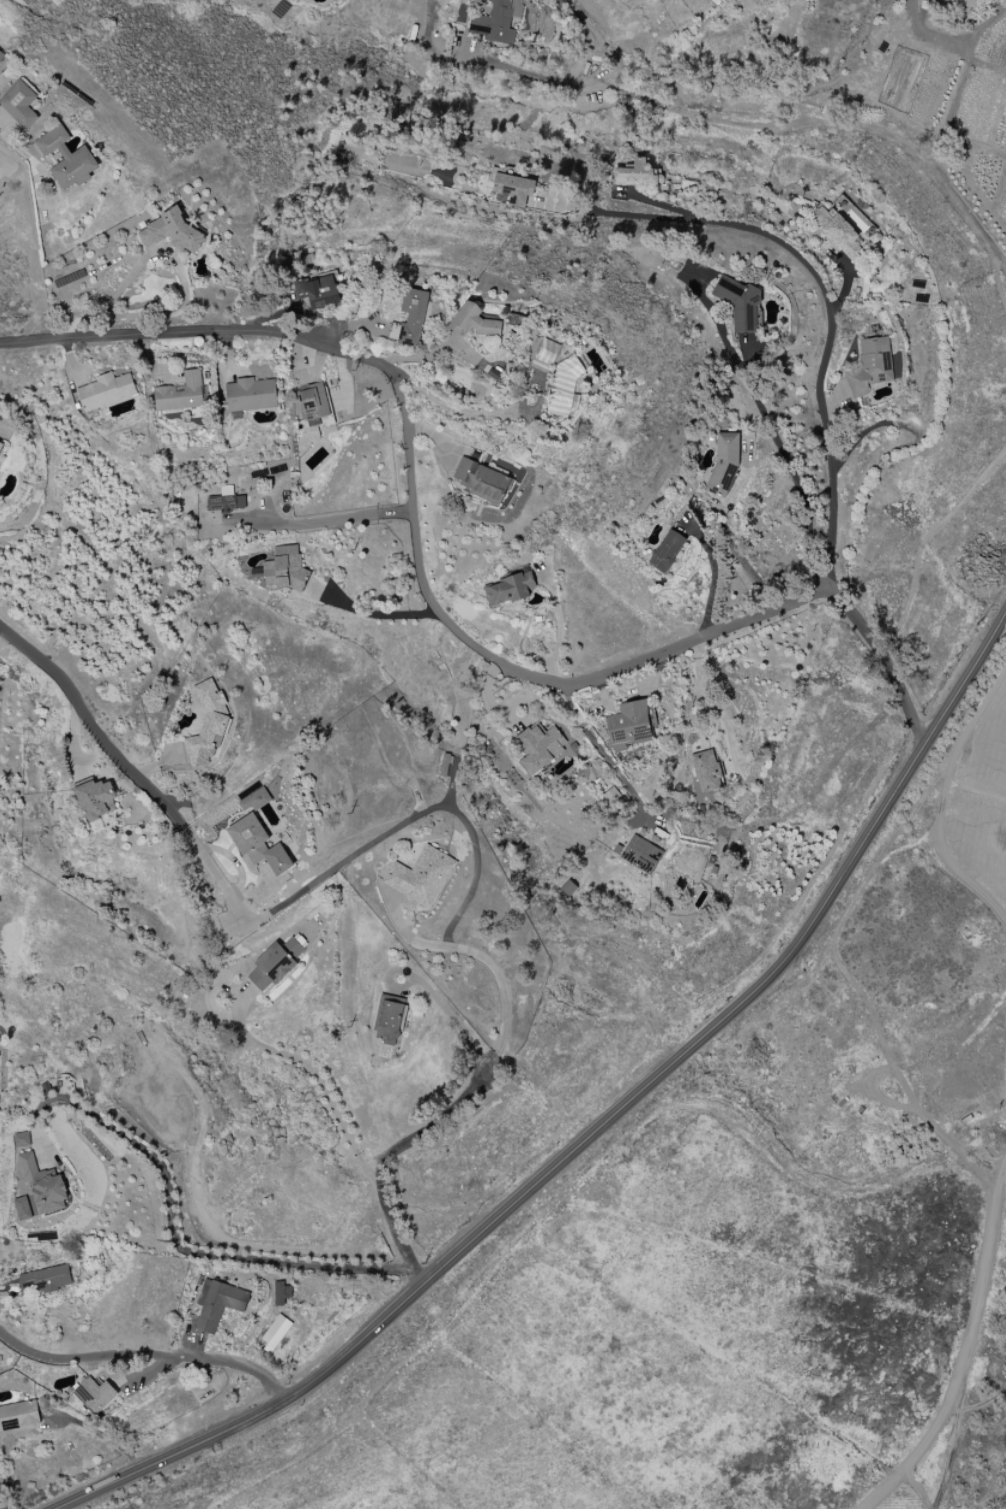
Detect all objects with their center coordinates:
building: (714, 2)
building: (962, 3)
building: (516, 10)
building: (493, 23)
building: (1, 56)
building: (19, 104)
road: (718, 120)
building: (66, 158)
building: (637, 174)
building: (512, 187)
road: (637, 217)
building: (839, 232)
building: (171, 233)
road: (166, 257)
building: (318, 290)
building: (739, 302)
building: (409, 318)
building: (476, 321)
building: (544, 355)
road: (821, 364)
building: (871, 366)
building: (563, 390)
building: (106, 391)
building: (181, 393)
building: (250, 395)
building: (314, 403)
road: (460, 408)
building: (0, 443)
building: (724, 464)
road: (791, 470)
building: (482, 481)
building: (225, 503)
road: (330, 520)
road: (732, 542)
building: (667, 551)
building: (282, 569)
road: (711, 579)
building: (508, 589)
road: (429, 597)
road: (374, 613)
road: (715, 705)
building: (629, 723)
building: (208, 725)
road: (90, 728)
building: (540, 747)
road: (604, 753)
building: (445, 765)
building: (706, 771)
crop: (981, 796)
building: (611, 797)
building: (96, 799)
road: (406, 820)
building: (257, 835)
building: (639, 855)
road: (209, 868)
building: (421, 876)
road: (475, 953)
building: (275, 963)
road: (447, 1010)
building: (388, 1019)
road: (320, 1084)
road: (597, 1129)
building: (21, 1139)
road: (394, 1152)
building: (43, 1185)
building: (20, 1204)
road: (173, 1231)
building: (44, 1280)
building: (281, 1293)
building: (217, 1304)
building: (275, 1333)
road: (145, 1354)
building: (95, 1394)
building: (18, 1415)
park: (988, 1450)

